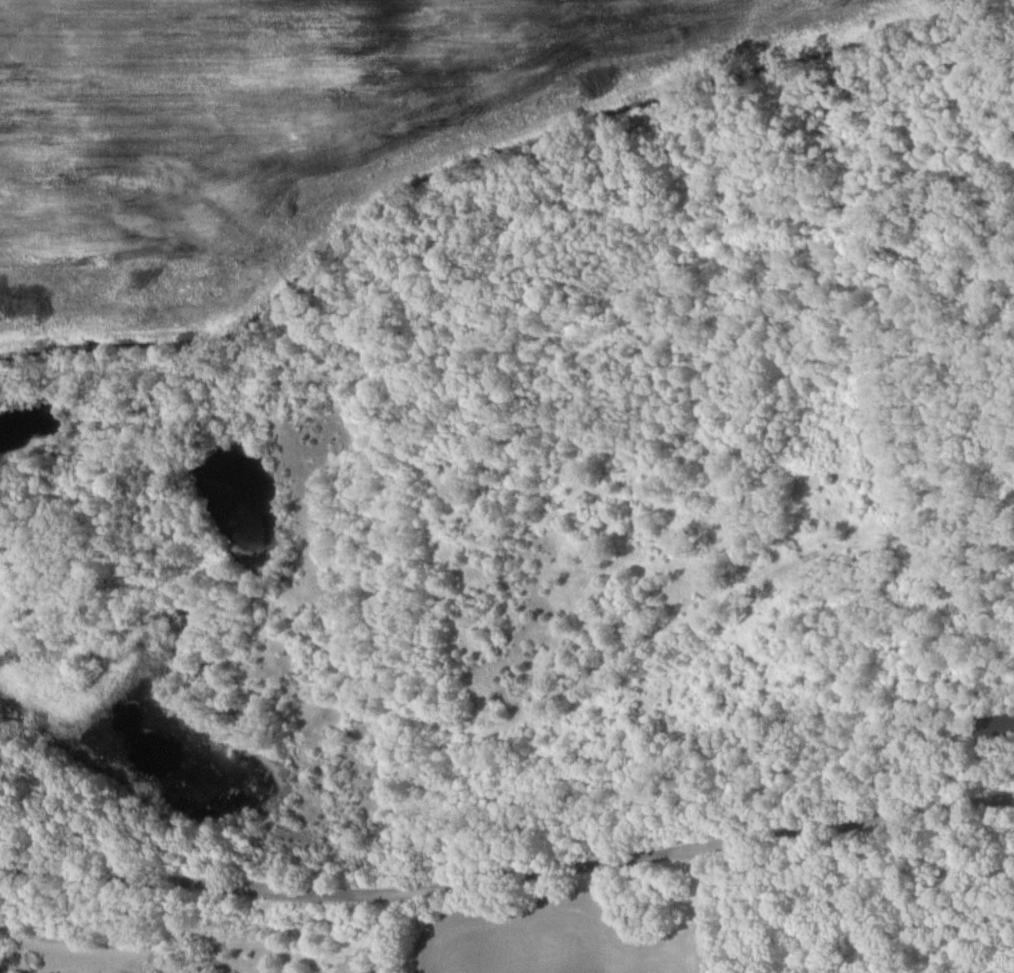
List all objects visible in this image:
building: (994, 726)
road: (508, 875)

